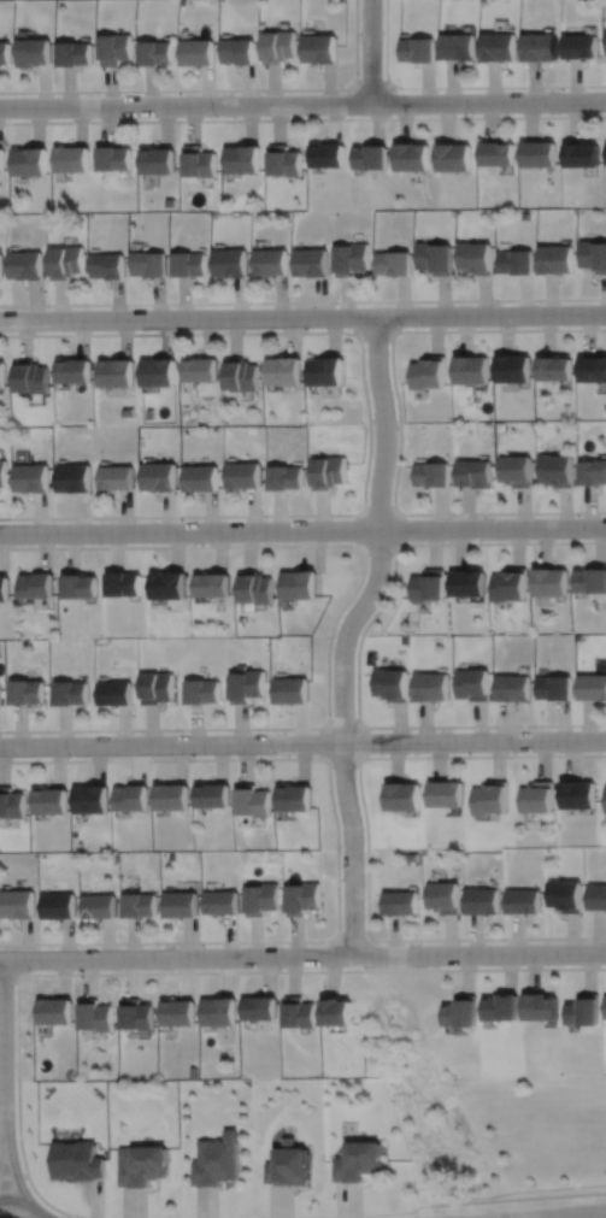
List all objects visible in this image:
building: (583, 45)
building: (280, 46)
building: (460, 46)
building: (501, 46)
building: (542, 46)
building: (118, 47)
building: (320, 48)
building: (240, 49)
building: (420, 49)
building: (36, 51)
building: (200, 51)
road: (370, 51)
building: (6, 52)
building: (159, 52)
building: (77, 53)
road: (371, 82)
road: (455, 86)
street lamp: (604, 88)
road: (218, 89)
street lamp: (343, 90)
street lamp: (98, 94)
road: (302, 104)
street lamp: (472, 113)
street lamp: (216, 116)
road: (302, 118)
building: (498, 153)
building: (540, 153)
building: (326, 154)
building: (583, 154)
building: (370, 155)
building: (412, 155)
building: (453, 157)
building: (116, 158)
building: (240, 158)
building: (2, 159)
building: (73, 159)
building: (158, 160)
building: (199, 160)
building: (282, 160)
building: (31, 161)
building: (594, 254)
building: (434, 257)
building: (477, 257)
building: (351, 259)
building: (558, 259)
building: (67, 261)
building: (270, 261)
building: (311, 261)
building: (518, 261)
building: (229, 263)
building: (393, 263)
building: (147, 264)
building: (187, 264)
building: (28, 265)
building: (106, 265)
building: (1, 266)
road: (302, 301)
road: (302, 316)
road: (376, 331)
building: (512, 369)
building: (554, 369)
building: (593, 369)
building: (199, 370)
building: (471, 370)
building: (72, 371)
building: (282, 371)
building: (324, 371)
building: (157, 372)
building: (428, 372)
building: (114, 373)
building: (1, 375)
building: (240, 375)
building: (30, 377)
road: (398, 420)
road: (367, 423)
building: (555, 470)
building: (514, 471)
building: (326, 472)
building: (592, 472)
building: (2, 473)
building: (431, 475)
building: (473, 475)
building: (242, 476)
building: (157, 477)
building: (29, 478)
building: (72, 478)
building: (114, 478)
building: (199, 478)
building: (283, 478)
road: (302, 529)
road: (394, 543)
building: (590, 582)
building: (551, 583)
building: (467, 584)
building: (122, 586)
building: (210, 586)
building: (298, 586)
building: (510, 586)
building: (34, 587)
building: (77, 587)
building: (166, 587)
building: (428, 587)
building: (4, 589)
building: (254, 589)
road: (336, 614)
road: (346, 631)
road: (357, 651)
building: (389, 684)
building: (245, 686)
building: (472, 686)
building: (592, 686)
building: (430, 687)
building: (154, 688)
building: (25, 689)
building: (554, 689)
building: (70, 690)
building: (289, 690)
building: (512, 690)
building: (114, 692)
building: (200, 692)
road: (357, 728)
road: (302, 743)
building: (446, 793)
building: (578, 793)
building: (211, 794)
building: (130, 795)
building: (402, 795)
building: (537, 795)
building: (170, 796)
building: (293, 796)
building: (90, 798)
building: (490, 798)
building: (48, 799)
building: (605, 799)
building: (251, 800)
building: (11, 801)
road: (365, 843)
road: (336, 853)
building: (565, 894)
building: (442, 896)
building: (596, 896)
building: (300, 898)
building: (259, 899)
building: (482, 900)
building: (523, 901)
building: (17, 902)
building: (219, 902)
building: (399, 902)
building: (58, 904)
building: (139, 904)
building: (178, 904)
building: (99, 905)
road: (351, 940)
road: (302, 955)
road: (165, 972)
road: (7, 973)
building: (501, 1006)
building: (541, 1006)
building: (258, 1008)
building: (584, 1010)
building: (55, 1011)
building: (461, 1011)
building: (217, 1012)
building: (336, 1012)
building: (135, 1013)
building: (177, 1013)
building: (296, 1013)
building: (94, 1014)
road: (2, 1047)
park: (542, 1137)
road: (1, 1143)
building: (77, 1160)
building: (214, 1161)
building: (357, 1161)
building: (142, 1165)
building: (287, 1165)
road: (13, 1169)
road: (13, 1175)
road: (24, 1200)
road: (434, 1204)
road: (43, 1214)
road: (566, 1214)
road: (66, 1216)

